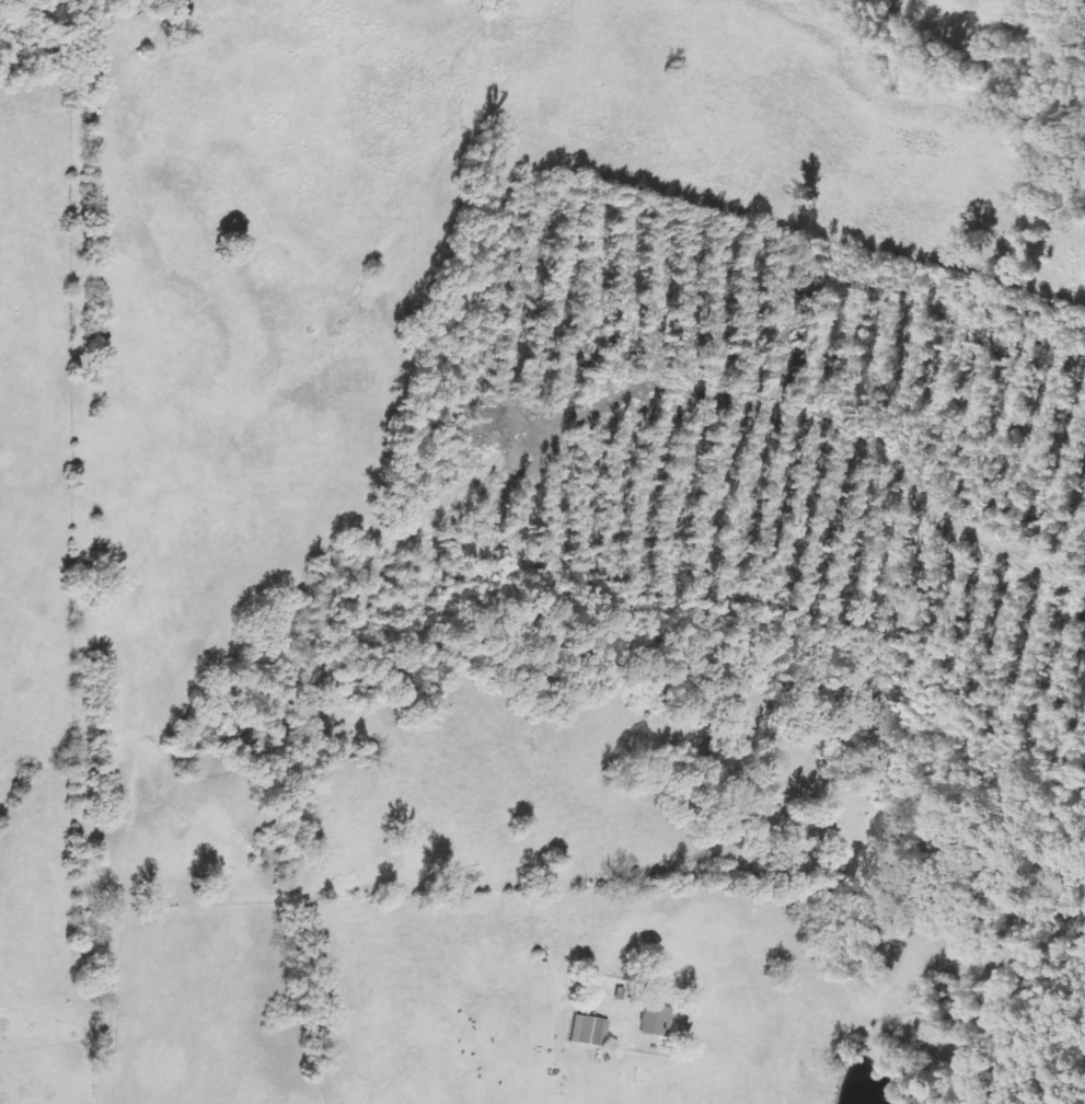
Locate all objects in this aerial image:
building: (654, 1022)
building: (588, 1032)

